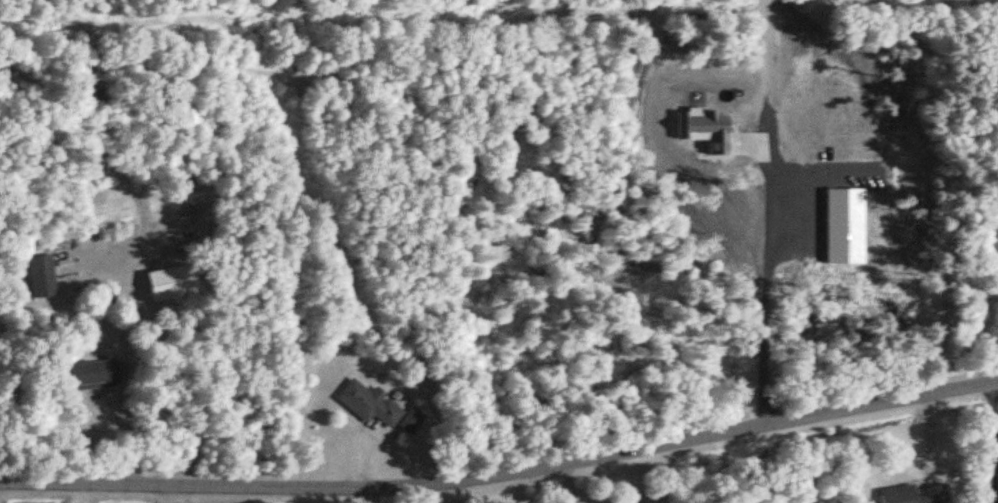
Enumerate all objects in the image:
building: (41, 277)
road: (763, 292)
building: (92, 375)
building: (369, 404)
road: (995, 442)
road: (503, 476)
road: (71, 493)
building: (913, 494)

